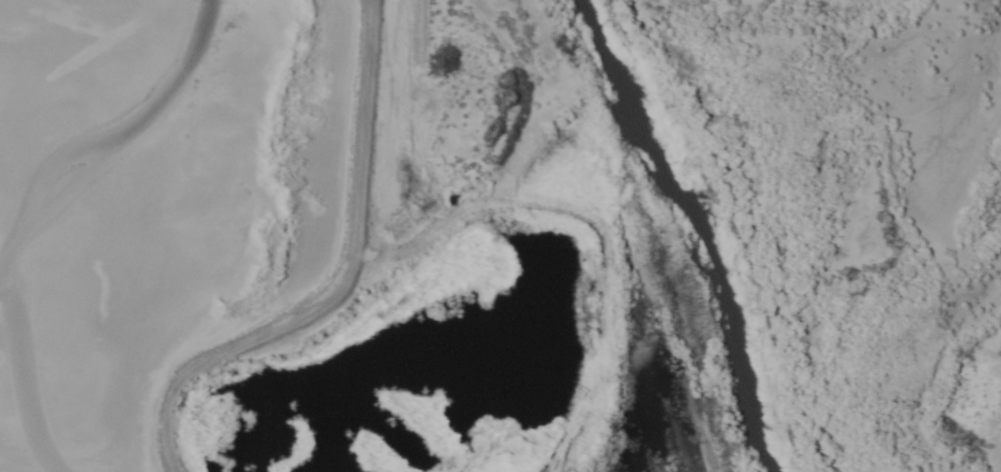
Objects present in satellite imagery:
river: (668, 236)

